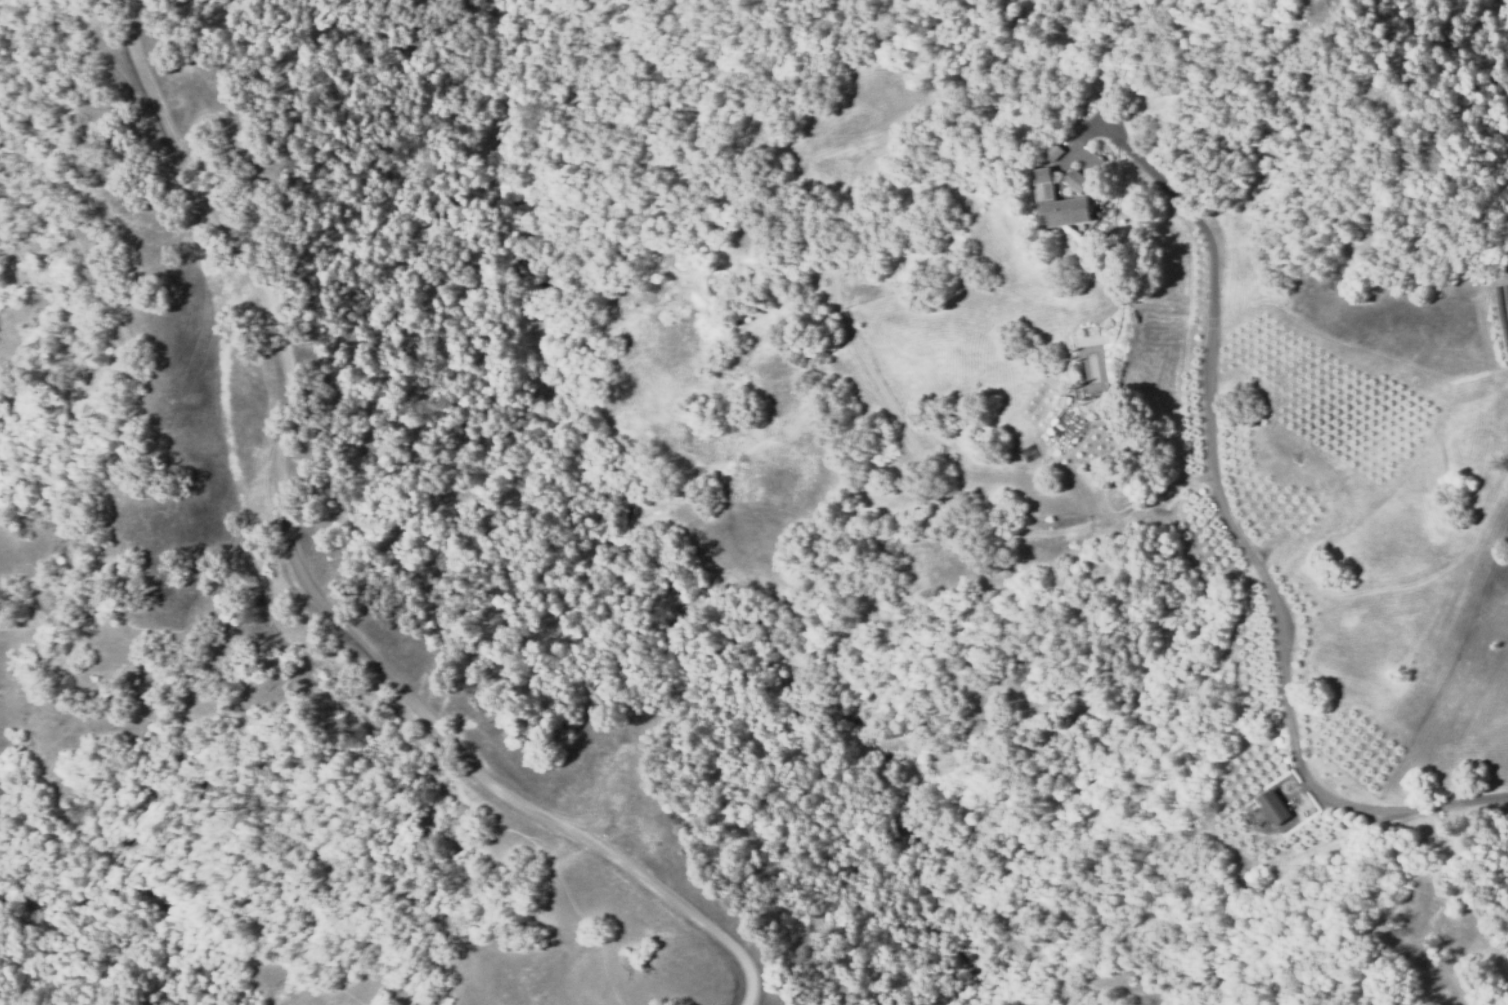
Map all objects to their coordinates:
road: (184, 167)
building: (1075, 179)
building: (1058, 201)
building: (1074, 371)
building: (1031, 456)
road: (1247, 539)
road: (433, 717)
building: (1275, 812)

